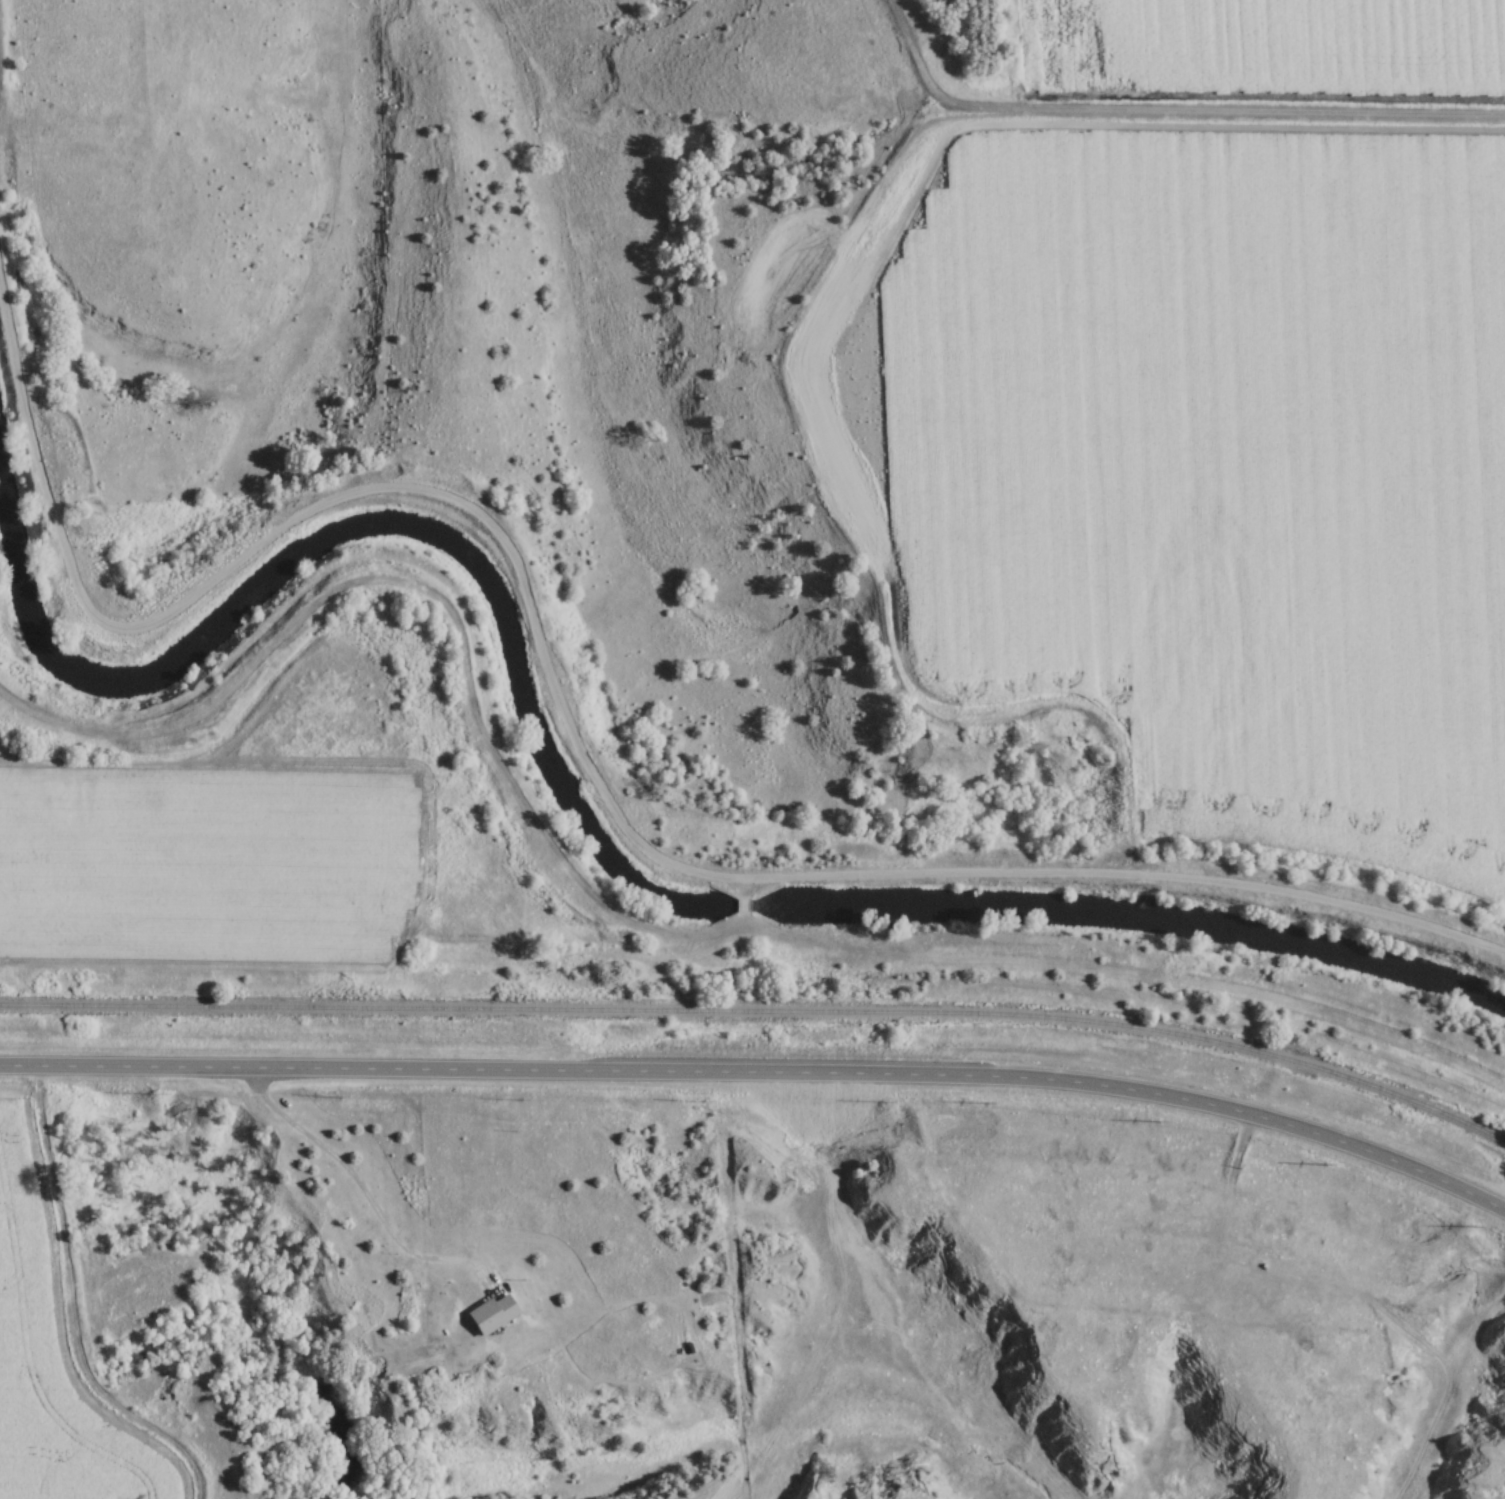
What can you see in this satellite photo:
road: (569, 728)
crop: (202, 862)
railway: (762, 1024)
road: (763, 1074)
crop: (50, 1372)

